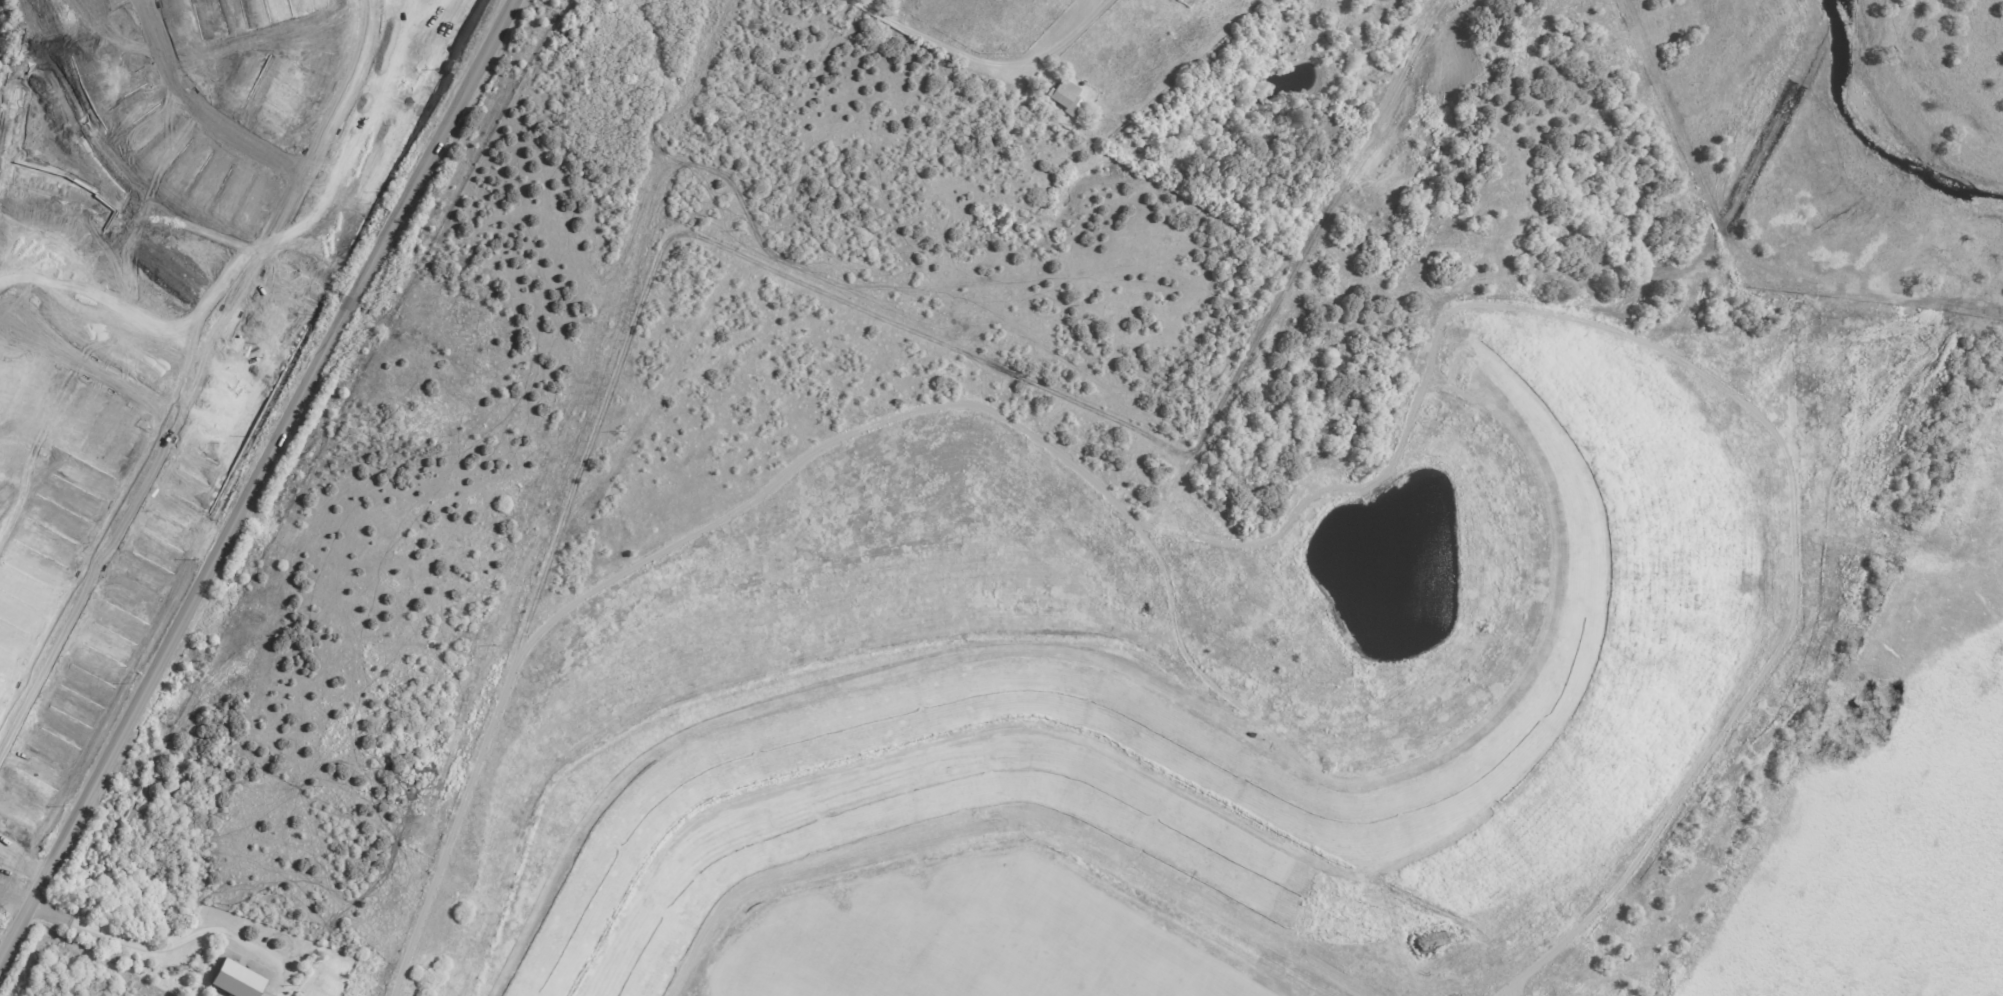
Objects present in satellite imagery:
road: (985, 61)
building: (1065, 96)
road: (205, 104)
road: (97, 362)
road: (195, 374)
road: (258, 482)
road: (25, 853)
road: (151, 947)
building: (239, 980)

